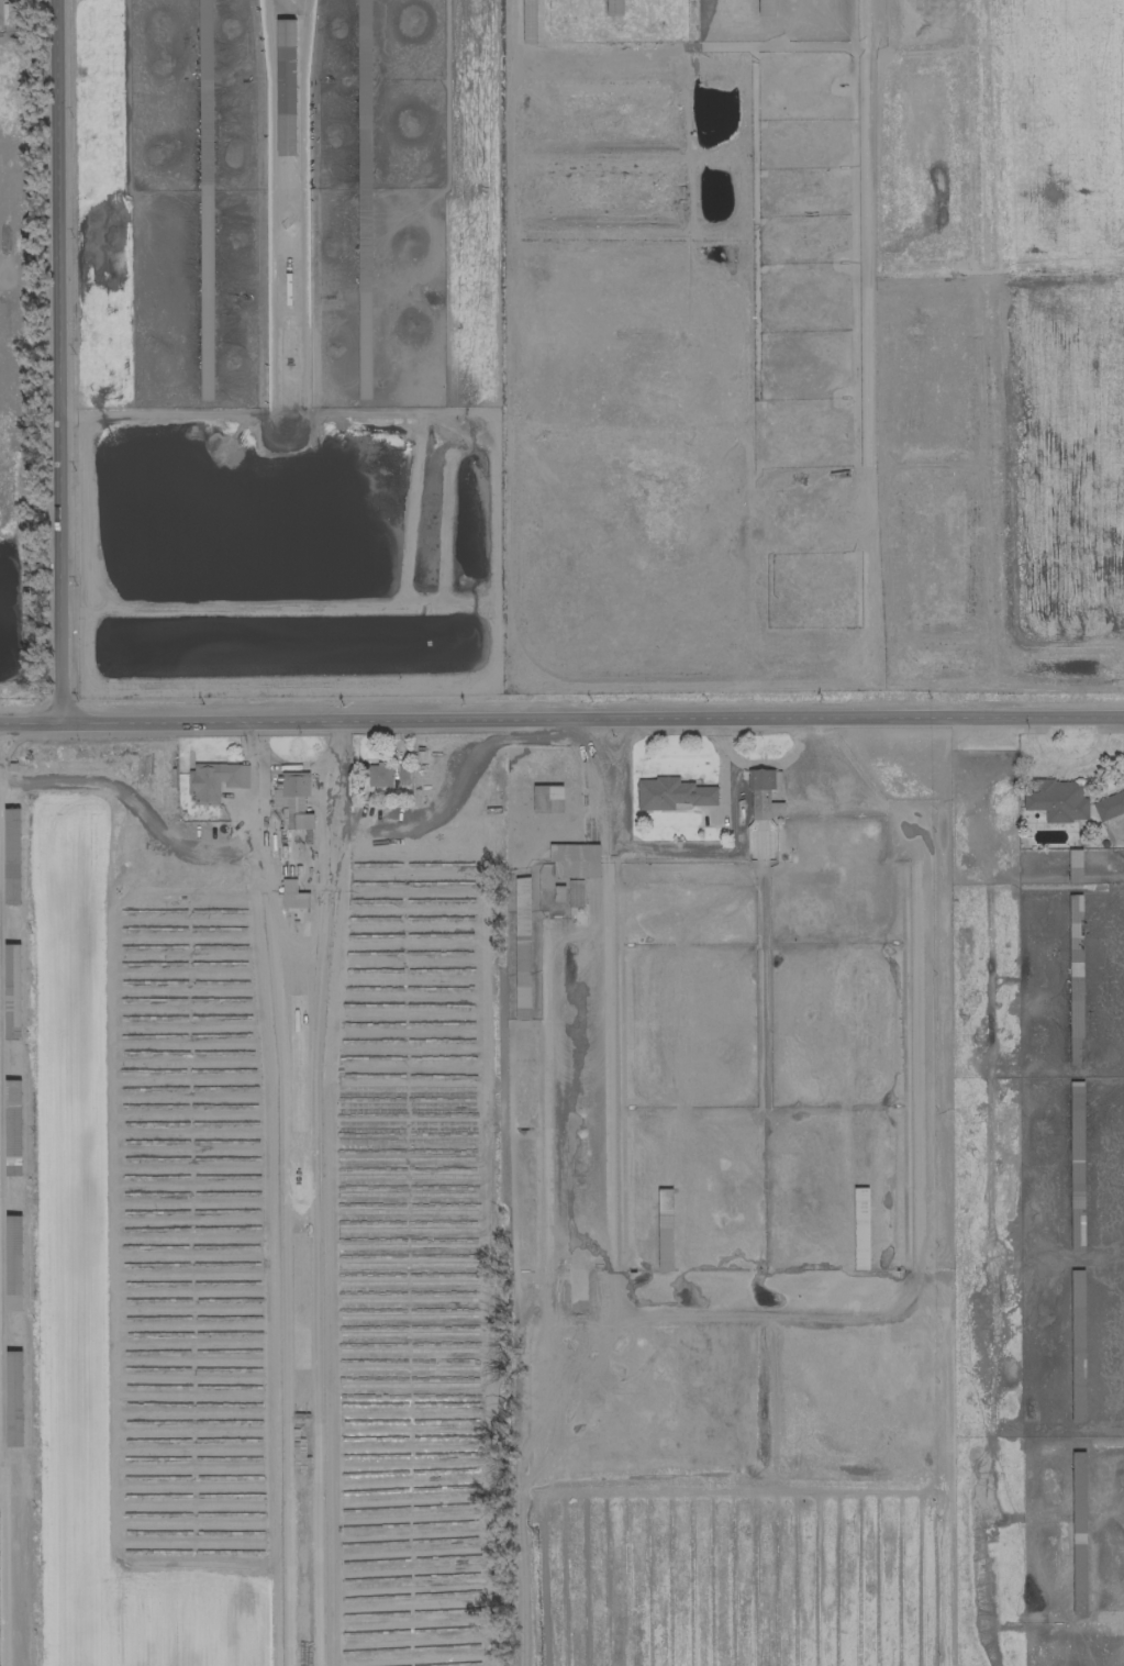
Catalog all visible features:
building: (614, 7)
building: (364, 8)
building: (766, 8)
building: (286, 87)
building: (207, 298)
crop: (1056, 334)
road: (57, 362)
road: (591, 719)
road: (30, 723)
road: (759, 766)
building: (379, 776)
building: (215, 780)
building: (671, 793)
building: (764, 795)
building: (547, 798)
building: (294, 800)
building: (1057, 800)
building: (1109, 806)
road: (653, 847)
building: (12, 855)
building: (575, 860)
building: (1075, 866)
building: (559, 893)
building: (575, 893)
building: (293, 896)
road: (296, 944)
building: (12, 990)
building: (522, 1074)
building: (12, 1091)
building: (1076, 1092)
building: (13, 1140)
building: (1077, 1214)
building: (860, 1228)
building: (665, 1229)
building: (13, 1263)
building: (1077, 1345)
building: (14, 1398)
building: (1078, 1533)

